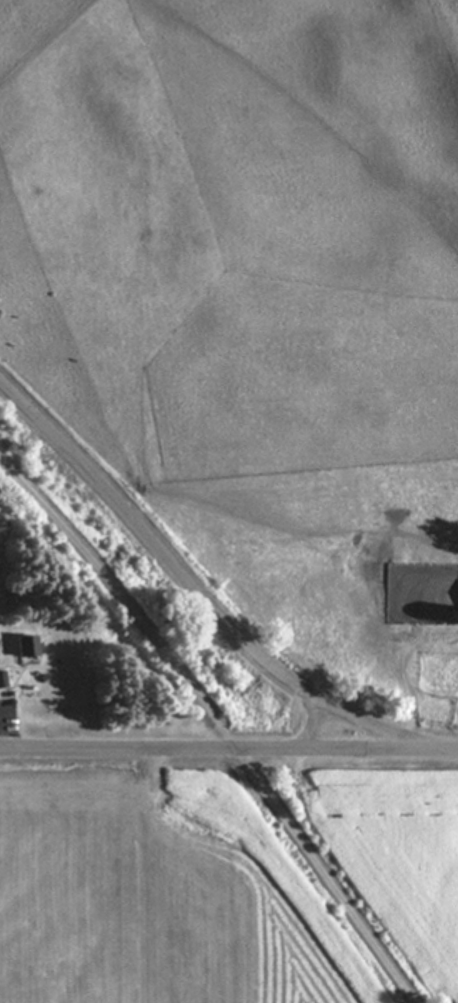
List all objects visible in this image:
road: (205, 599)
building: (11, 600)
building: (25, 648)
building: (2, 681)
road: (219, 722)
road: (314, 724)
road: (213, 747)

